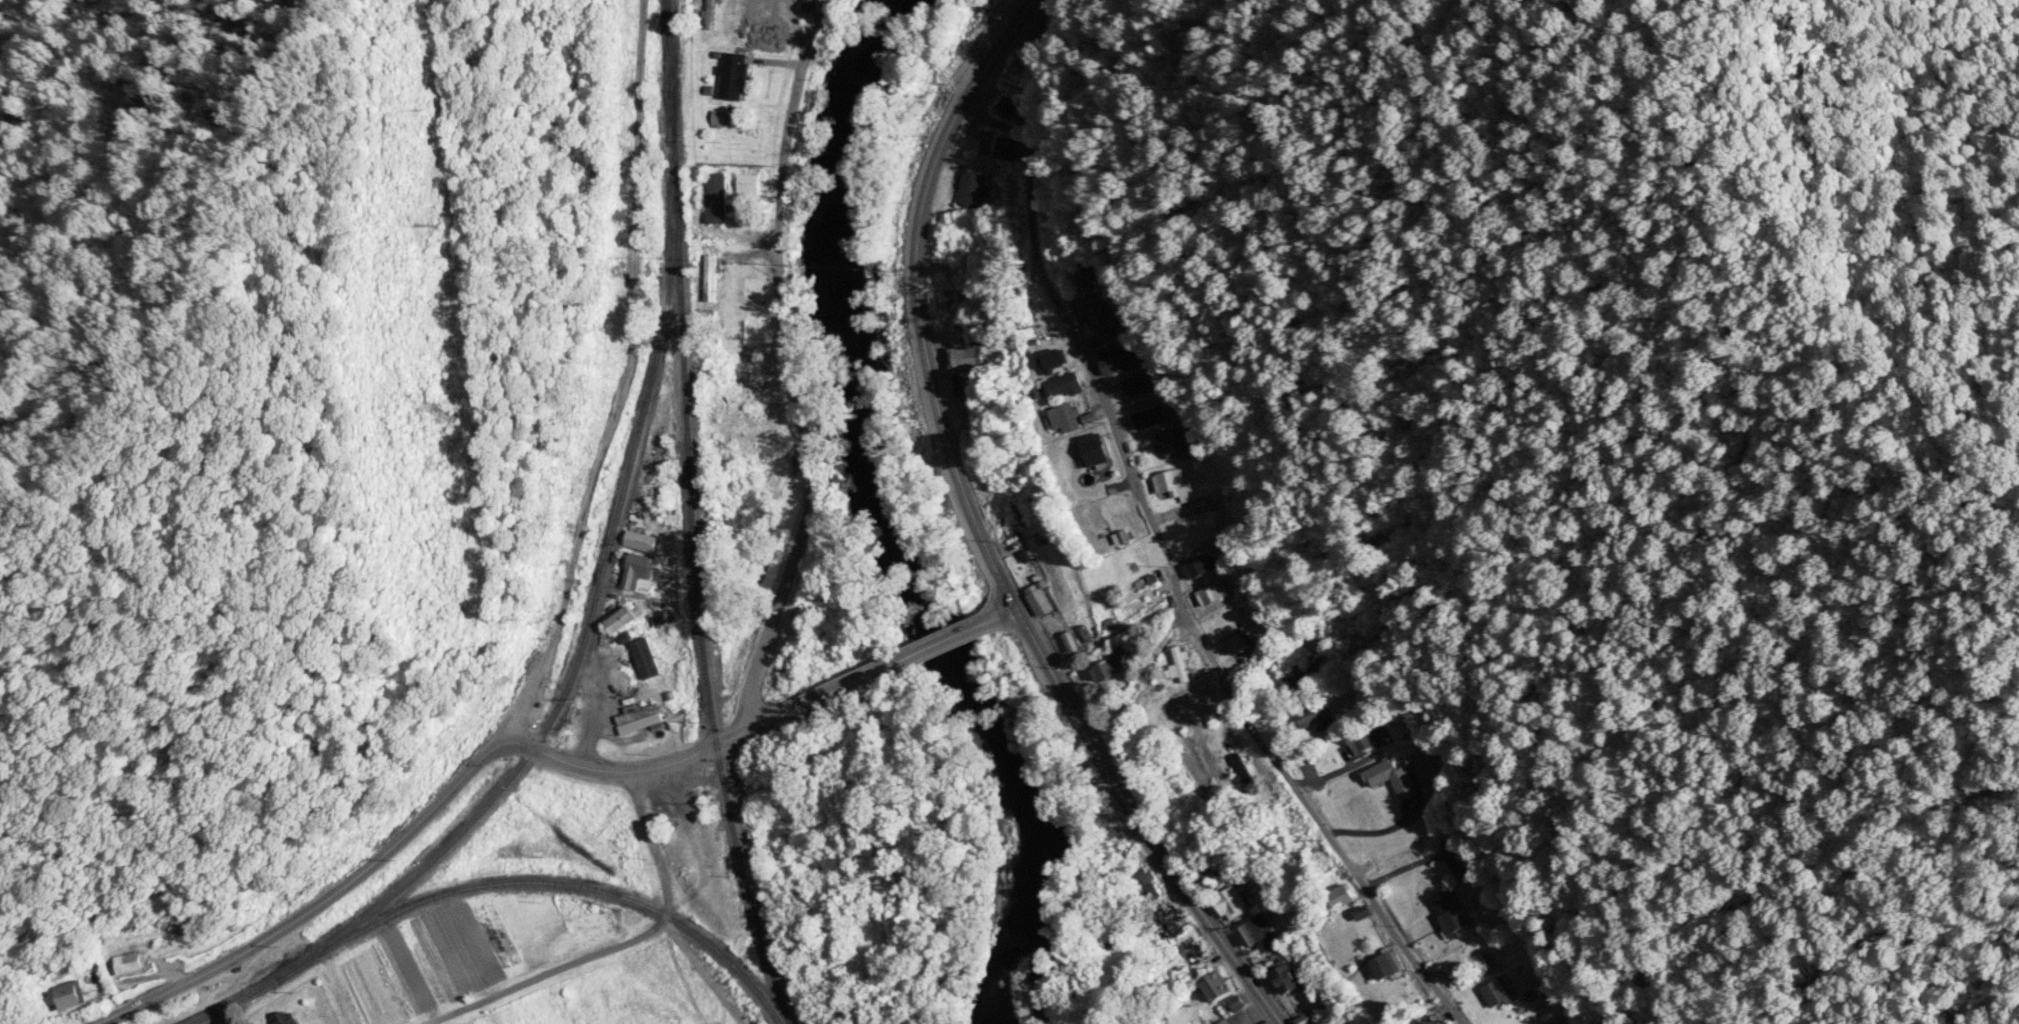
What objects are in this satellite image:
building: (713, 9)
road: (997, 50)
building: (735, 77)
building: (1011, 109)
railway: (661, 111)
building: (1004, 149)
building: (972, 190)
building: (715, 199)
power tower: (435, 229)
building: (711, 279)
building: (1085, 281)
building: (957, 299)
building: (1096, 317)
building: (1106, 336)
road: (1078, 346)
building: (965, 359)
building: (1054, 361)
building: (1121, 361)
road: (622, 372)
building: (1138, 386)
building: (1066, 387)
road: (794, 394)
building: (1150, 419)
building: (1068, 420)
power tower: (451, 433)
building: (731, 435)
building: (1172, 446)
building: (1097, 451)
building: (1173, 485)
river: (900, 517)
building: (1008, 520)
building: (1120, 526)
building: (642, 543)
building: (1201, 568)
building: (636, 571)
road: (1004, 591)
building: (1213, 596)
building: (1038, 601)
road: (1006, 615)
building: (623, 622)
railway: (706, 627)
railway: (580, 641)
building: (1236, 648)
building: (1181, 666)
road: (889, 668)
building: (1112, 668)
road: (1126, 699)
building: (637, 713)
building: (1318, 720)
building: (1369, 743)
building: (1242, 769)
road: (642, 770)
building: (1392, 779)
road: (1318, 821)
building: (1211, 873)
railway: (558, 883)
building: (1150, 888)
building: (1341, 898)
road: (321, 901)
building: (1231, 904)
building: (1452, 916)
building: (1172, 923)
building: (1257, 936)
road: (619, 944)
building: (1192, 952)
building: (134, 963)
building: (1388, 966)
building: (1287, 977)
building: (1216, 989)
building: (1500, 992)
railway: (238, 994)
building: (72, 995)
building: (1238, 1004)
building: (288, 1019)
building: (1428, 1021)
building: (233, 1022)

